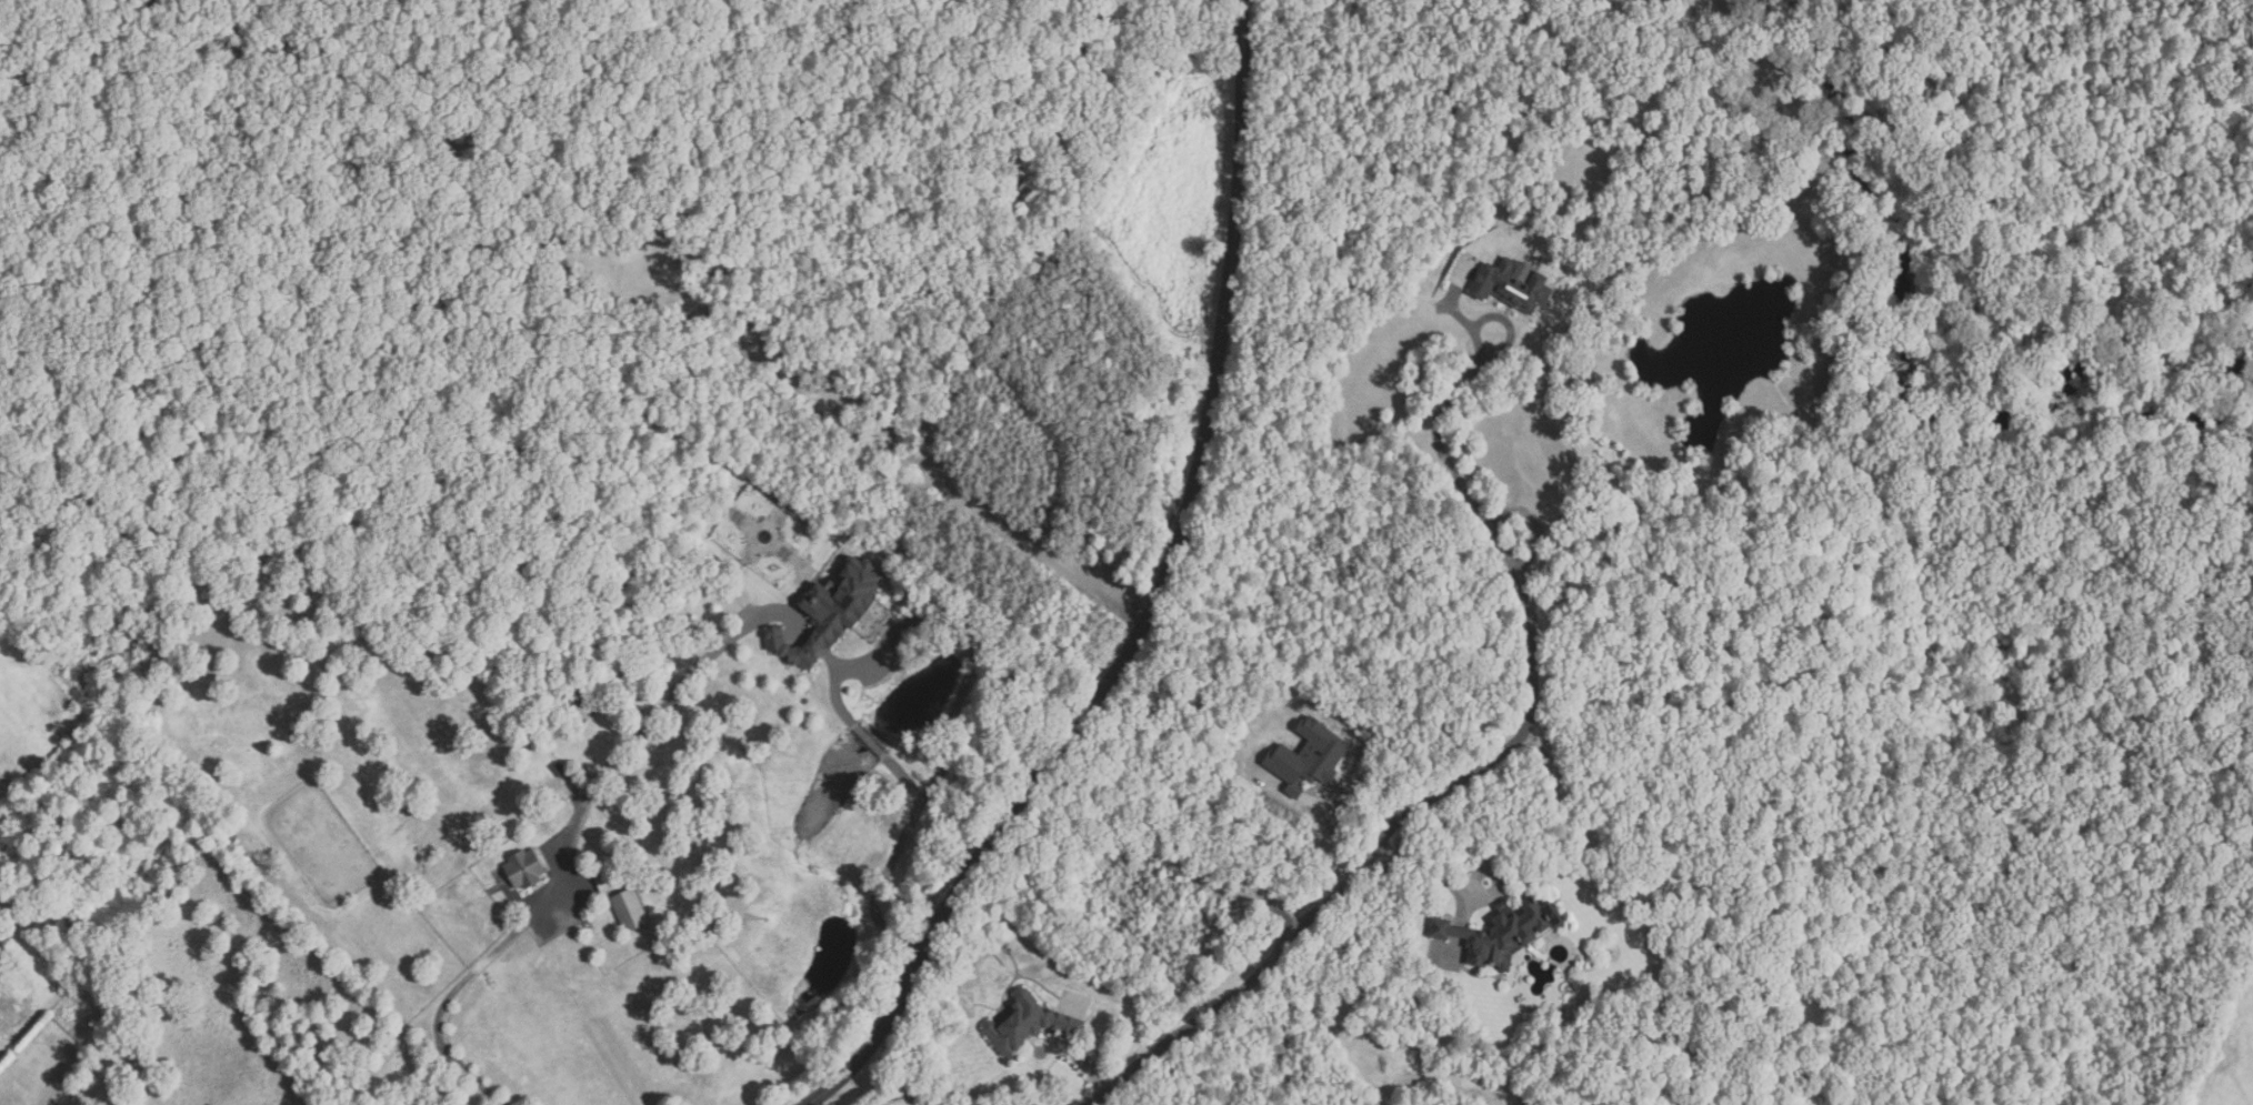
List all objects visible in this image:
river: (1883, 277)
building: (1515, 283)
road: (1514, 323)
river: (2163, 351)
river: (2163, 412)
road: (1153, 602)
building: (833, 612)
road: (835, 695)
road: (871, 742)
building: (1310, 756)
building: (560, 770)
road: (1453, 783)
road: (567, 854)
road: (893, 860)
building: (528, 868)
road: (1431, 874)
building: (604, 875)
building: (632, 911)
building: (1503, 933)
building: (1030, 1023)

